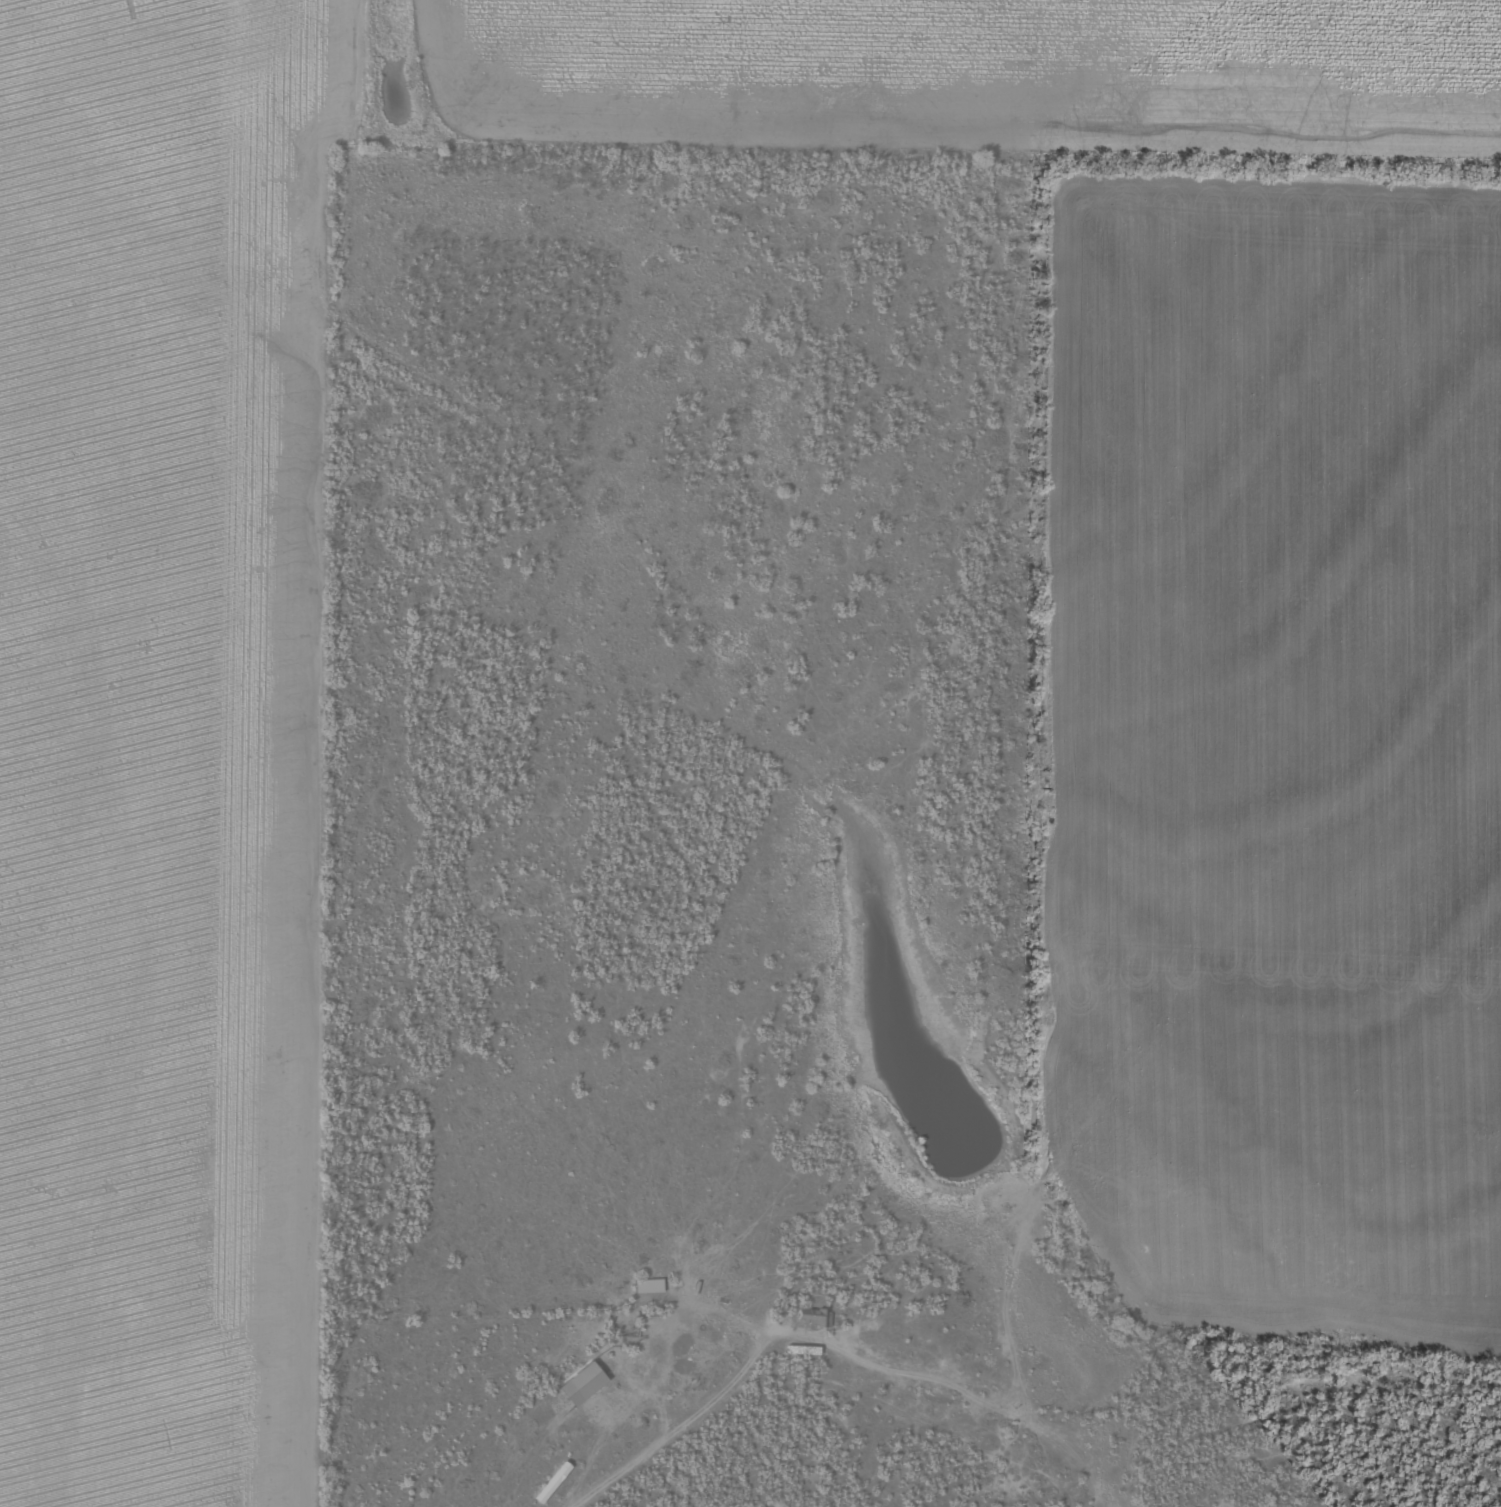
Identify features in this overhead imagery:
building: (647, 1295)
road: (758, 1364)
building: (580, 1393)

